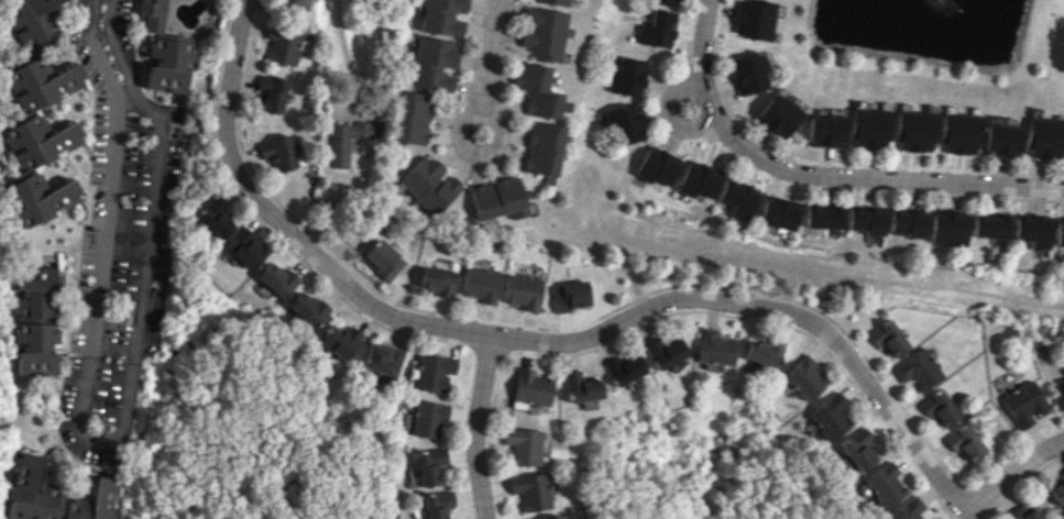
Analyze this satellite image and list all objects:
building: (552, 1)
building: (665, 2)
building: (296, 3)
building: (443, 16)
building: (156, 18)
building: (752, 19)
building: (31, 21)
building: (657, 29)
building: (542, 33)
building: (284, 44)
road: (343, 51)
road: (487, 55)
building: (431, 64)
building: (169, 65)
building: (748, 74)
building: (628, 77)
building: (42, 82)
building: (536, 90)
building: (272, 92)
road: (671, 113)
building: (779, 114)
building: (413, 118)
building: (626, 123)
road: (459, 125)
building: (869, 128)
building: (825, 131)
building: (914, 131)
building: (958, 133)
building: (1045, 137)
building: (1001, 139)
building: (40, 140)
building: (542, 147)
building: (278, 152)
building: (338, 153)
building: (659, 165)
road: (821, 173)
building: (700, 180)
building: (430, 185)
building: (41, 198)
building: (498, 198)
building: (739, 198)
building: (780, 213)
building: (825, 217)
building: (213, 218)
building: (868, 221)
building: (909, 223)
building: (992, 227)
building: (951, 228)
building: (1036, 231)
building: (1061, 232)
building: (246, 250)
building: (383, 259)
building: (276, 279)
building: (436, 280)
building: (480, 284)
building: (523, 290)
building: (568, 296)
building: (307, 308)
building: (35, 322)
road: (538, 339)
building: (890, 339)
building: (337, 340)
building: (716, 347)
building: (663, 351)
building: (764, 352)
building: (382, 358)
building: (623, 368)
building: (919, 369)
building: (434, 372)
building: (804, 378)
building: (579, 386)
building: (530, 387)
building: (1058, 393)
building: (1023, 402)
building: (941, 408)
building: (831, 416)
building: (428, 418)
road: (476, 426)
road: (107, 440)
building: (967, 443)
building: (526, 445)
building: (858, 449)
building: (429, 465)
building: (1063, 472)
road: (1012, 473)
building: (885, 484)
building: (531, 490)
building: (32, 492)
building: (1057, 493)
building: (95, 501)
building: (437, 504)
building: (907, 509)
building: (1024, 511)
building: (551, 517)

